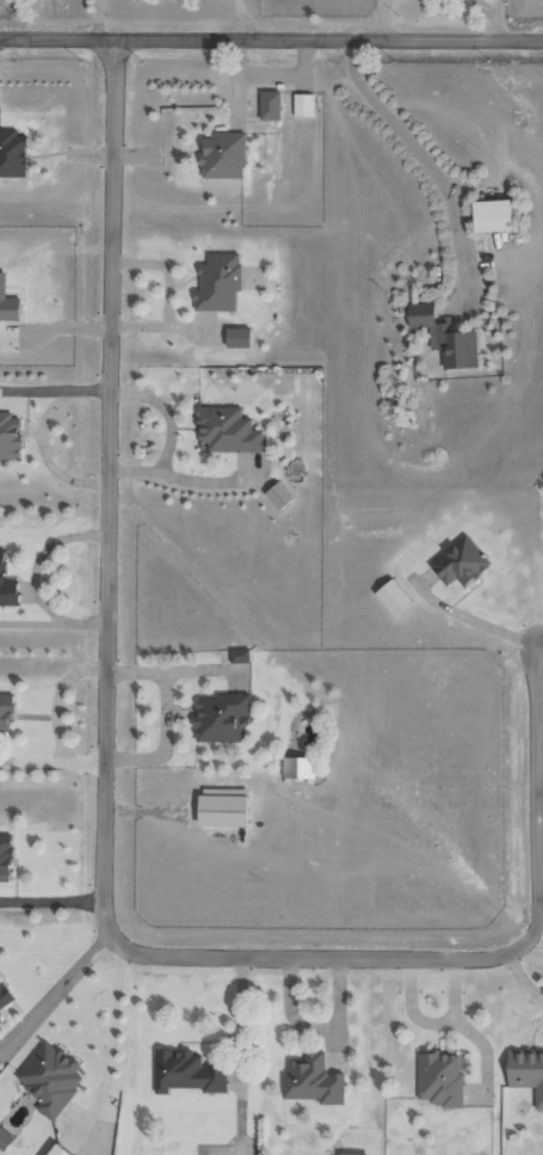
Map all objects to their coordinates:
road: (271, 37)
building: (302, 104)
building: (269, 105)
building: (12, 154)
building: (222, 155)
building: (490, 215)
building: (218, 283)
building: (7, 302)
building: (237, 337)
building: (444, 337)
building: (227, 430)
building: (10, 436)
building: (277, 496)
building: (459, 561)
building: (6, 585)
building: (393, 596)
building: (240, 656)
building: (5, 711)
building: (220, 717)
building: (298, 767)
building: (222, 806)
road: (103, 846)
building: (5, 855)
building: (185, 1071)
building: (526, 1071)
building: (439, 1077)
building: (50, 1079)
building: (311, 1080)
building: (4, 1138)
building: (57, 1150)
building: (343, 1154)

